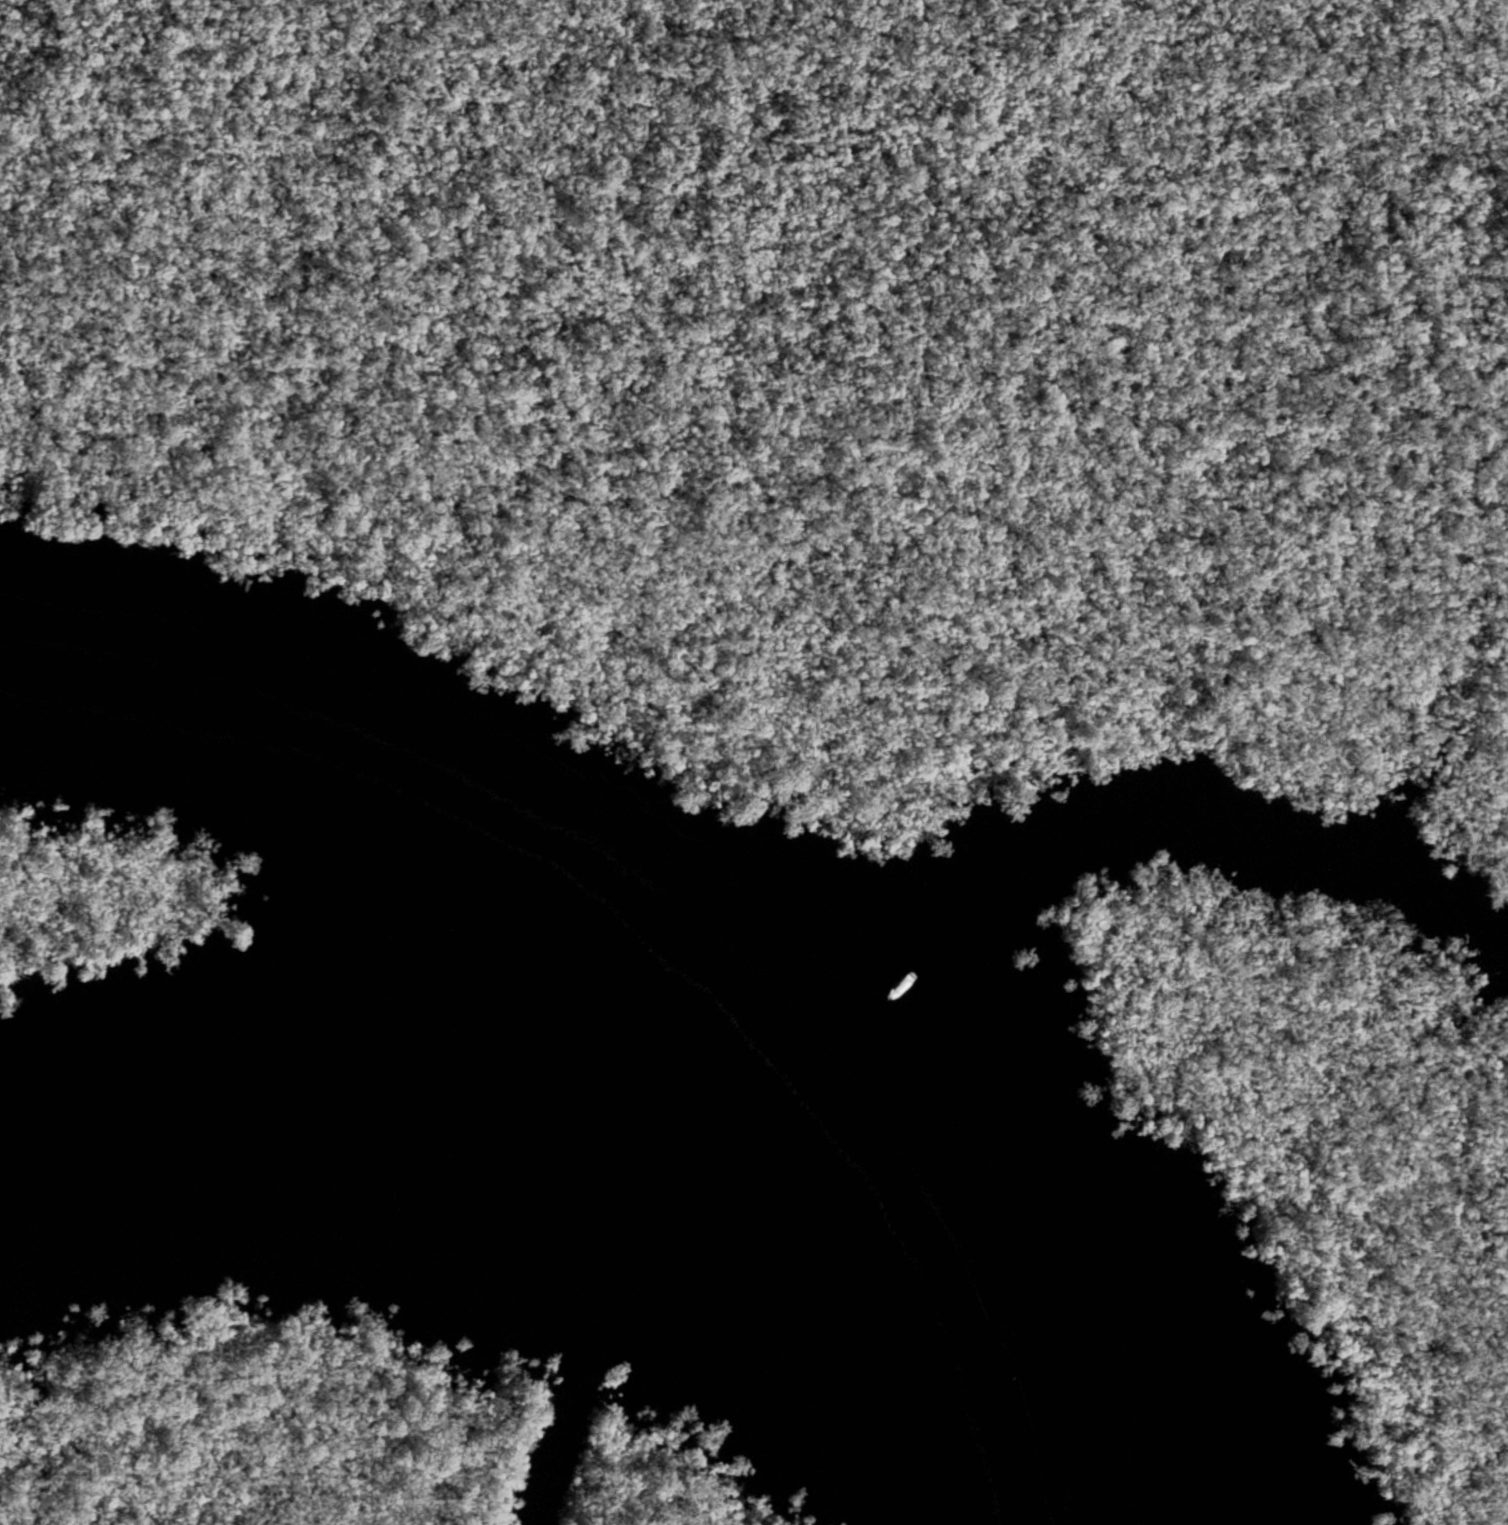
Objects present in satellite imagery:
river: (584, 1190)

